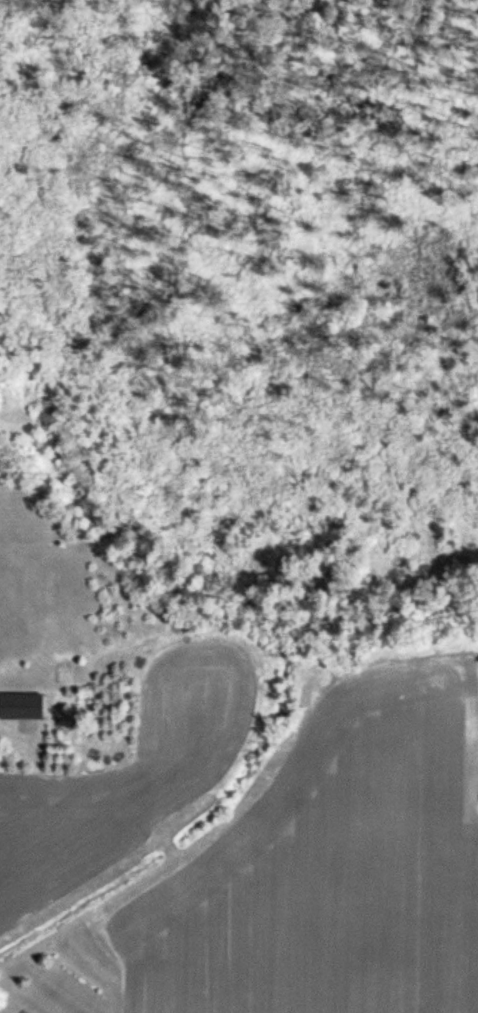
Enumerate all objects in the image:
building: (22, 707)

